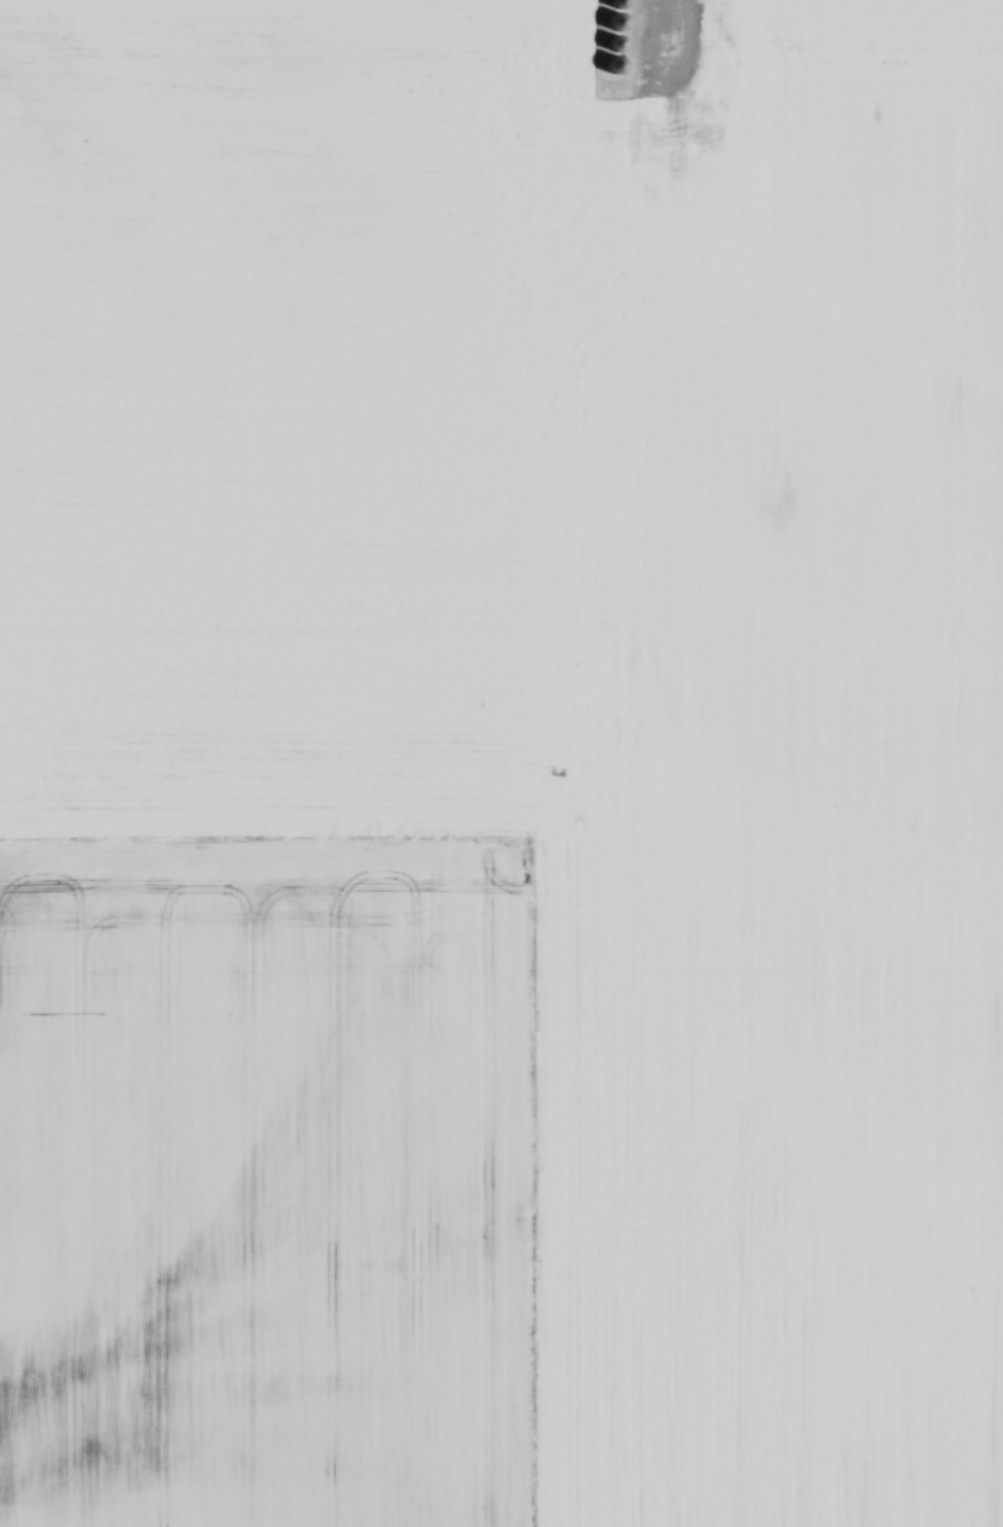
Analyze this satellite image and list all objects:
building: (619, 5)
building: (617, 25)
building: (617, 46)
building: (615, 68)

